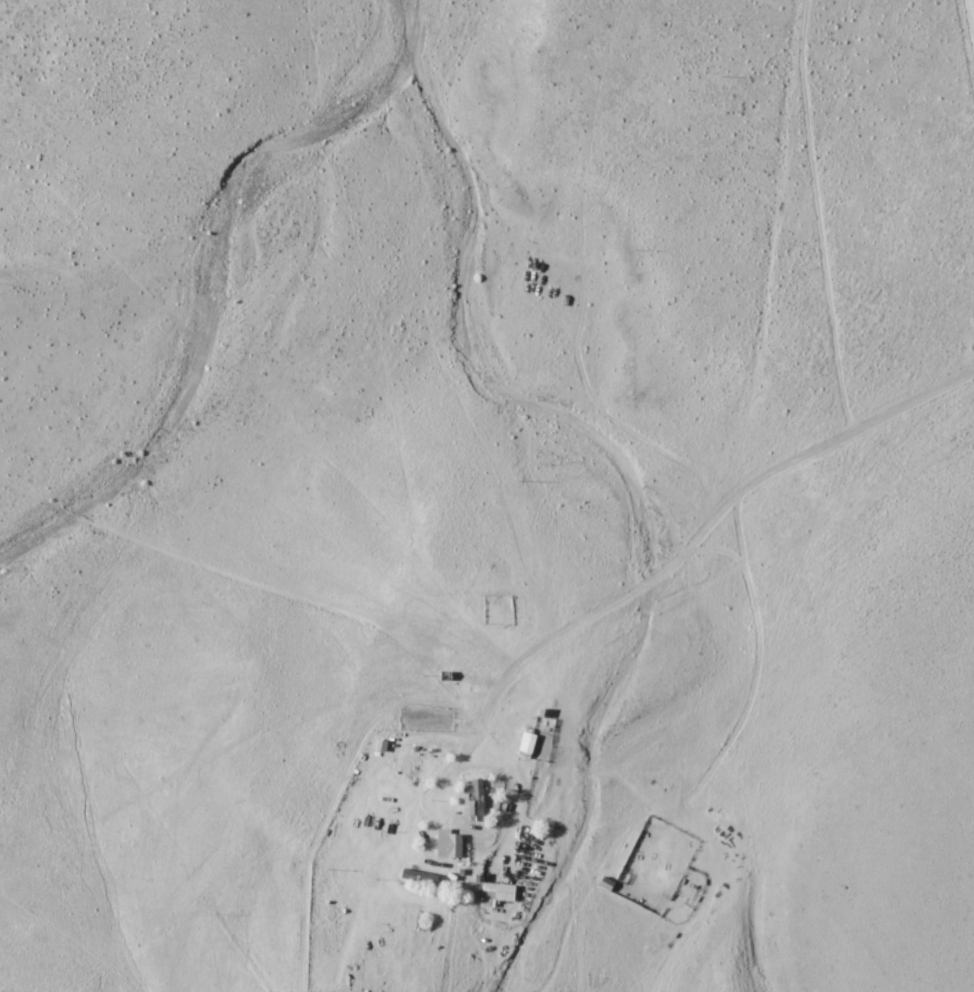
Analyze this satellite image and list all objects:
river: (227, 295)
road: (826, 437)
road: (839, 566)
road: (615, 615)
road: (568, 686)
road: (203, 750)
building: (474, 799)
road: (429, 834)
building: (449, 844)
building: (420, 875)
building: (499, 894)

